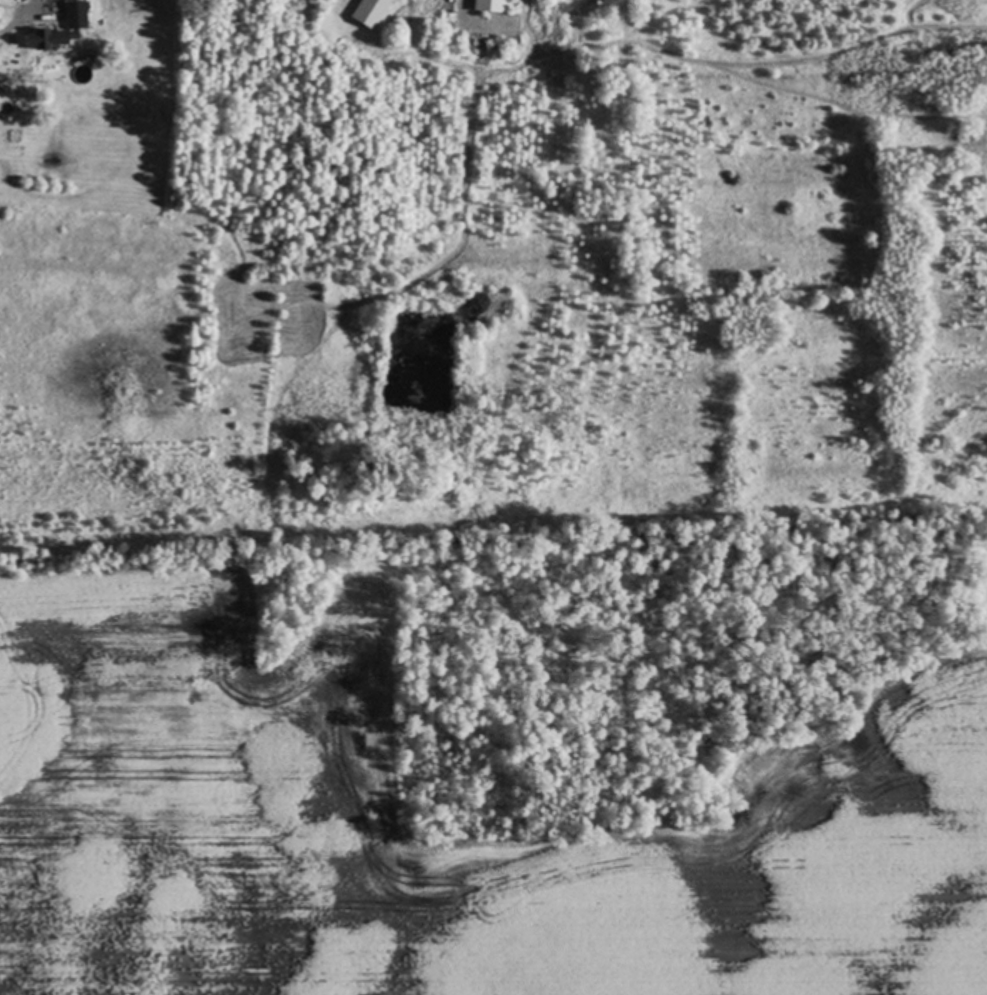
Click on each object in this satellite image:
building: (492, 4)
building: (369, 11)
building: (75, 13)
building: (397, 18)
road: (14, 22)
building: (426, 39)

